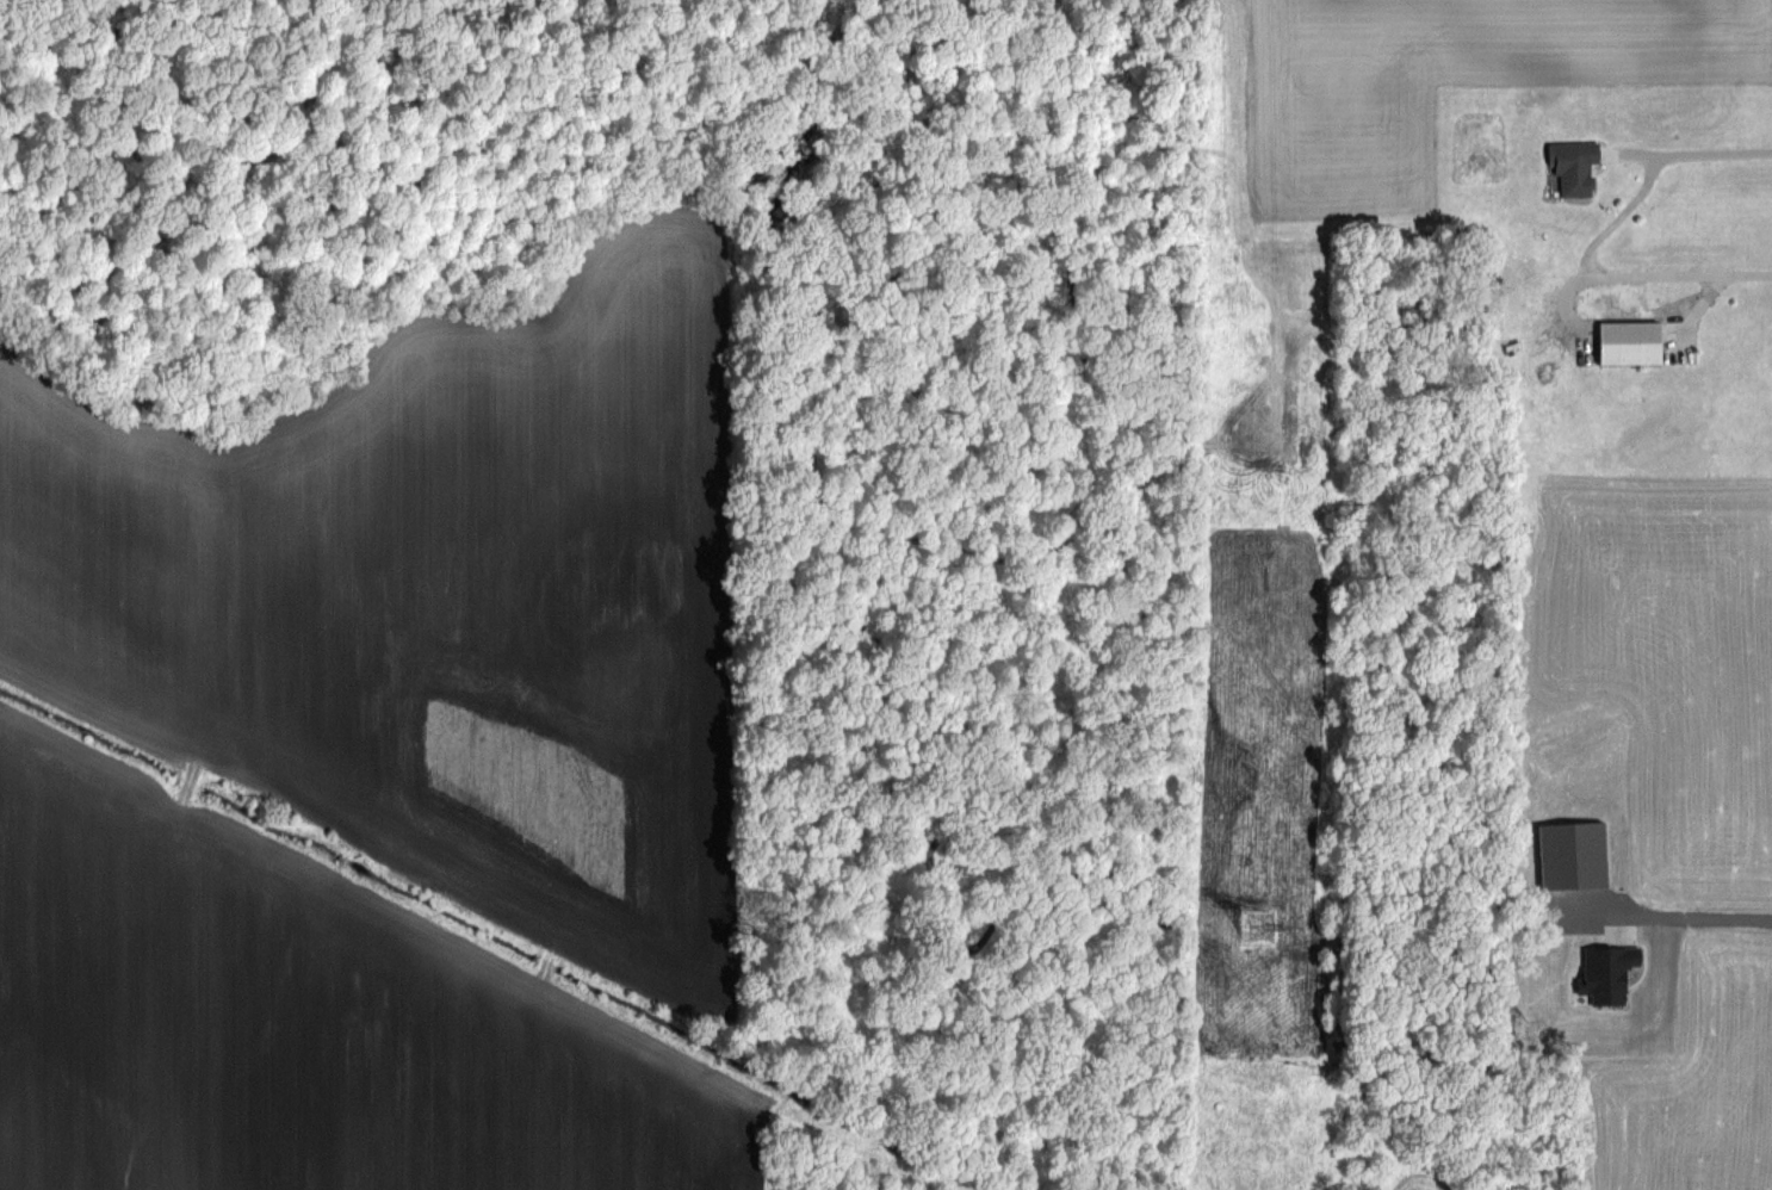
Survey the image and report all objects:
road: (1698, 153)
building: (1573, 166)
road: (1712, 284)
building: (1628, 341)
road: (1704, 915)
power tower: (1262, 925)

